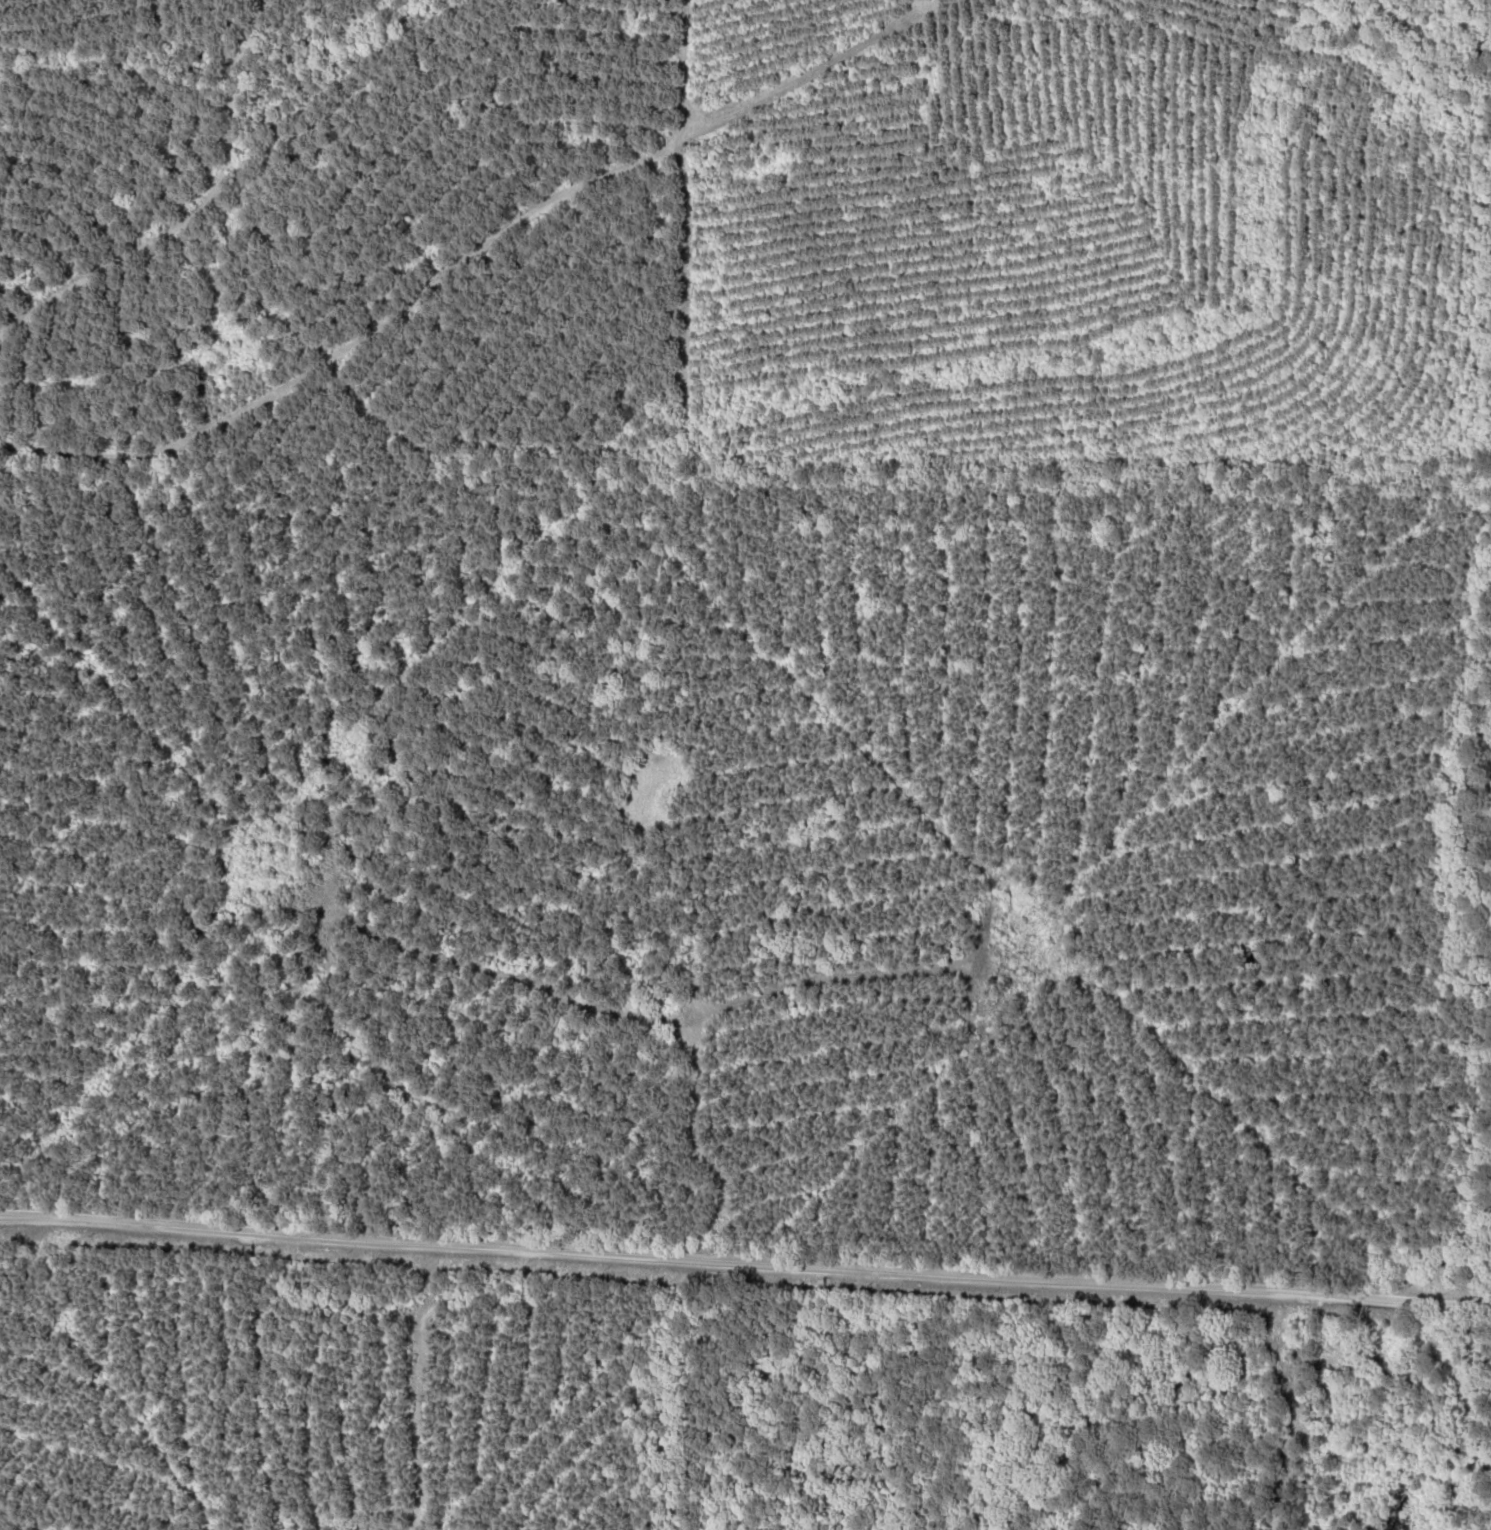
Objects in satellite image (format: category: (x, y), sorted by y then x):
road: (745, 1260)

